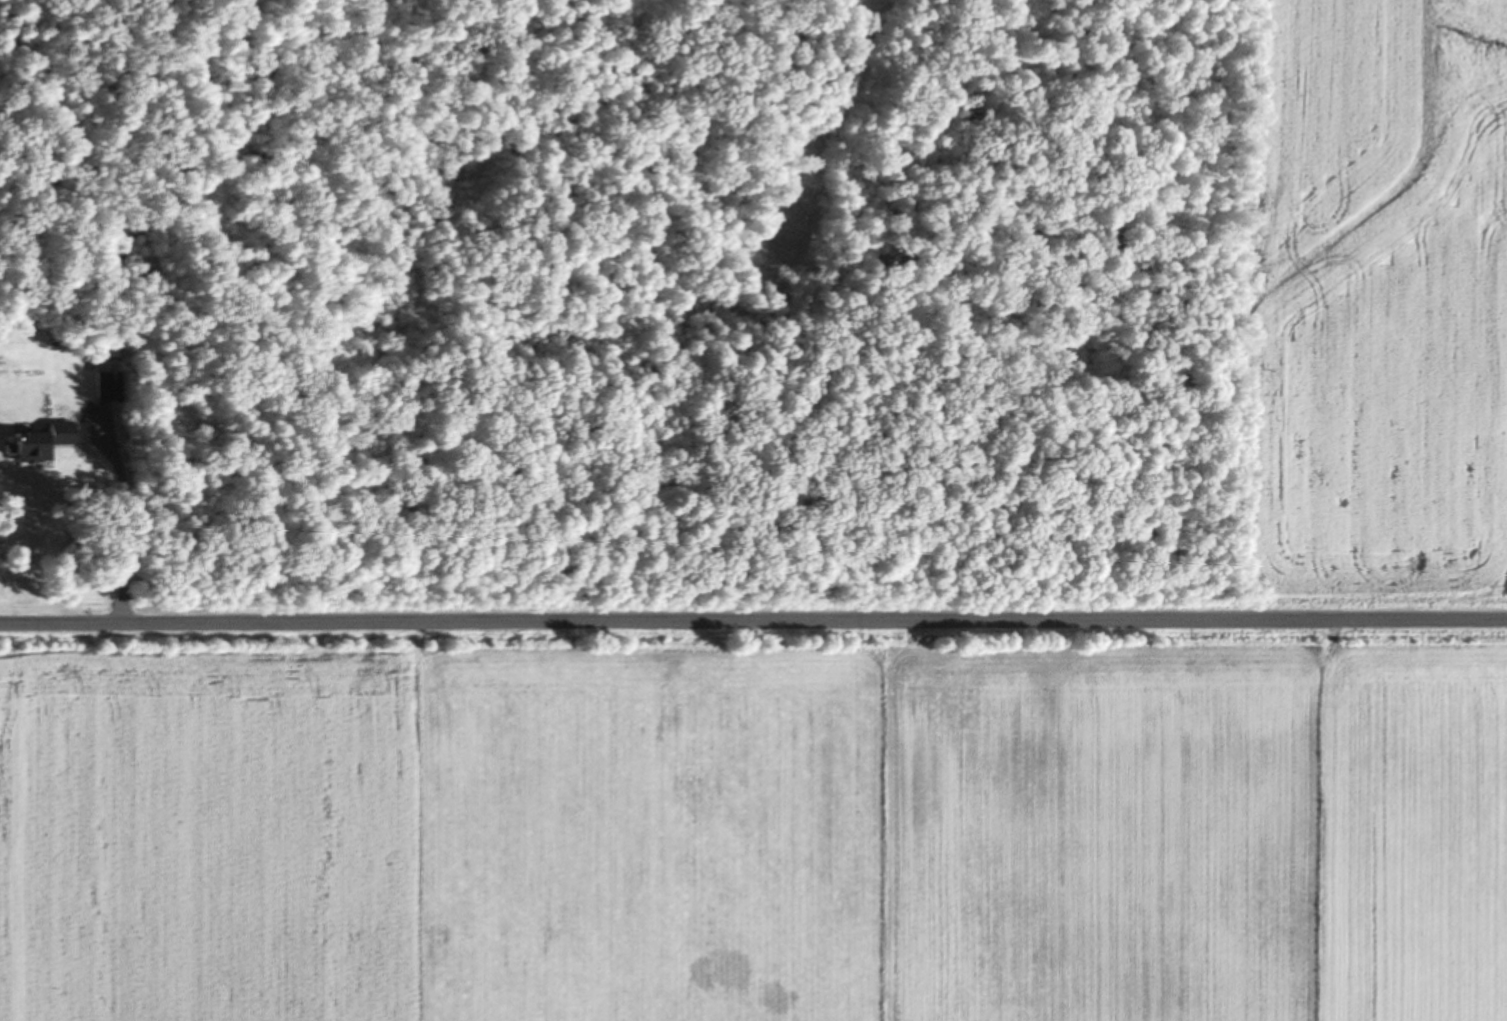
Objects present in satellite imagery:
building: (107, 385)
building: (34, 441)
road: (753, 622)

